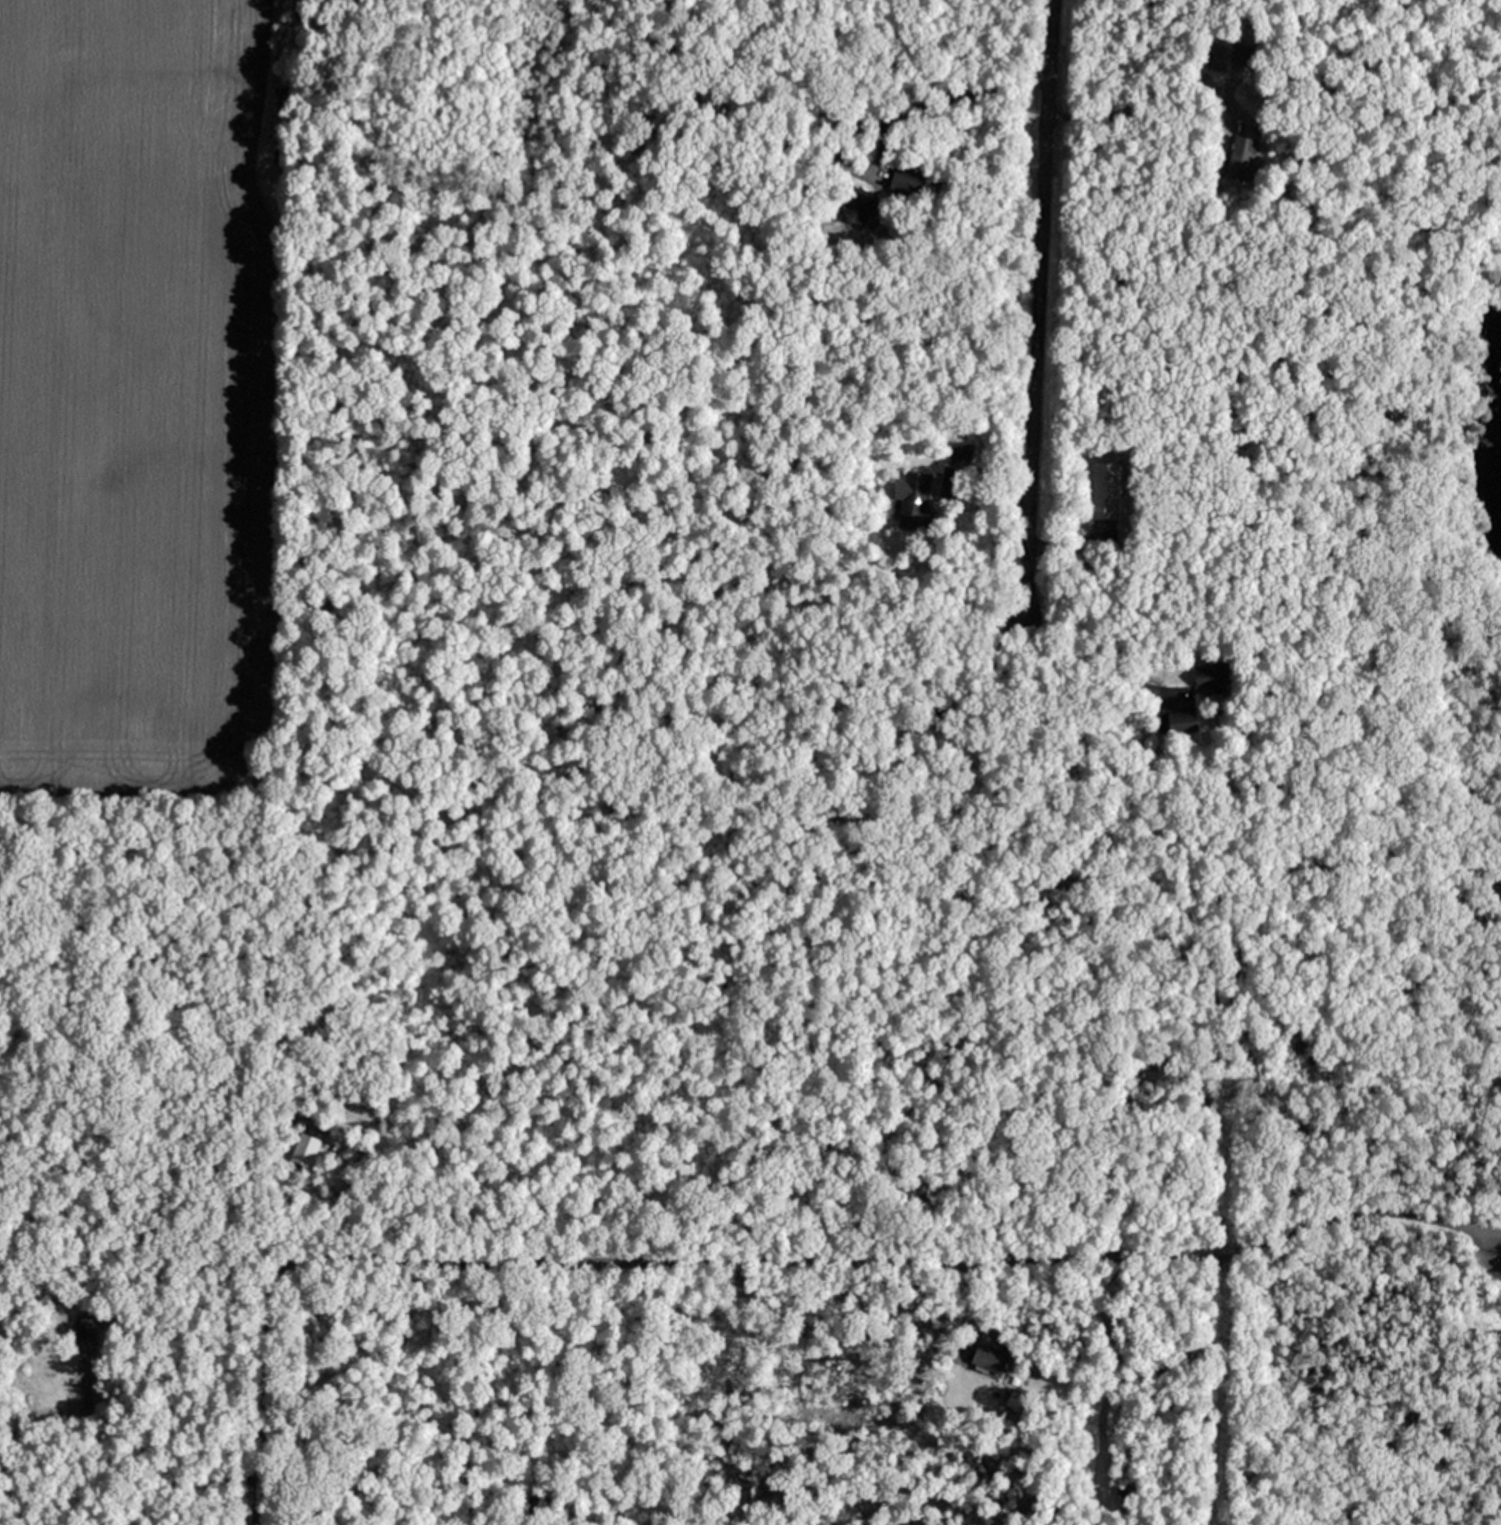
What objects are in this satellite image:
road: (954, 102)
road: (1124, 109)
building: (1243, 143)
building: (898, 177)
building: (854, 208)
road: (1038, 305)
building: (912, 486)
building: (1103, 490)
road: (1081, 663)
building: (1203, 674)
building: (303, 1149)
road: (765, 1257)
building: (989, 1357)

